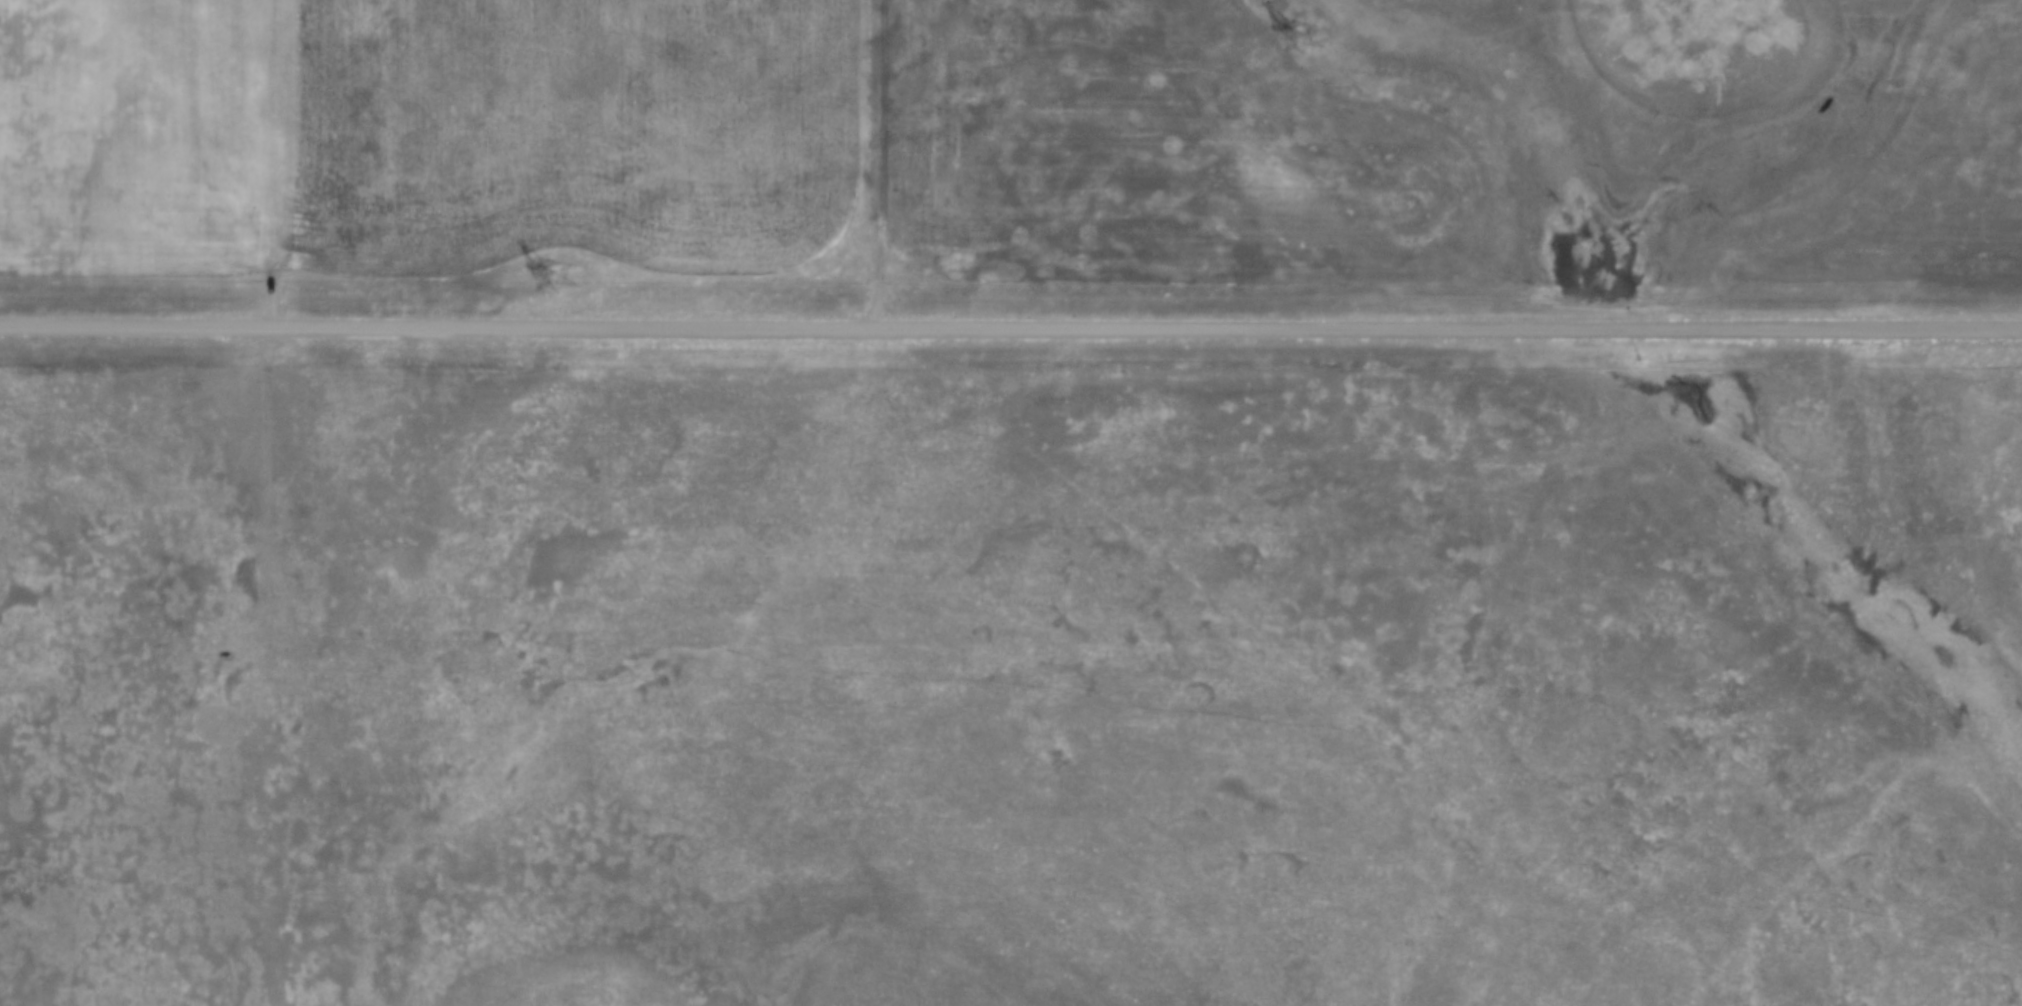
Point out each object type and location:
power tower: (1318, 38)
power tower: (571, 278)
road: (1011, 331)

